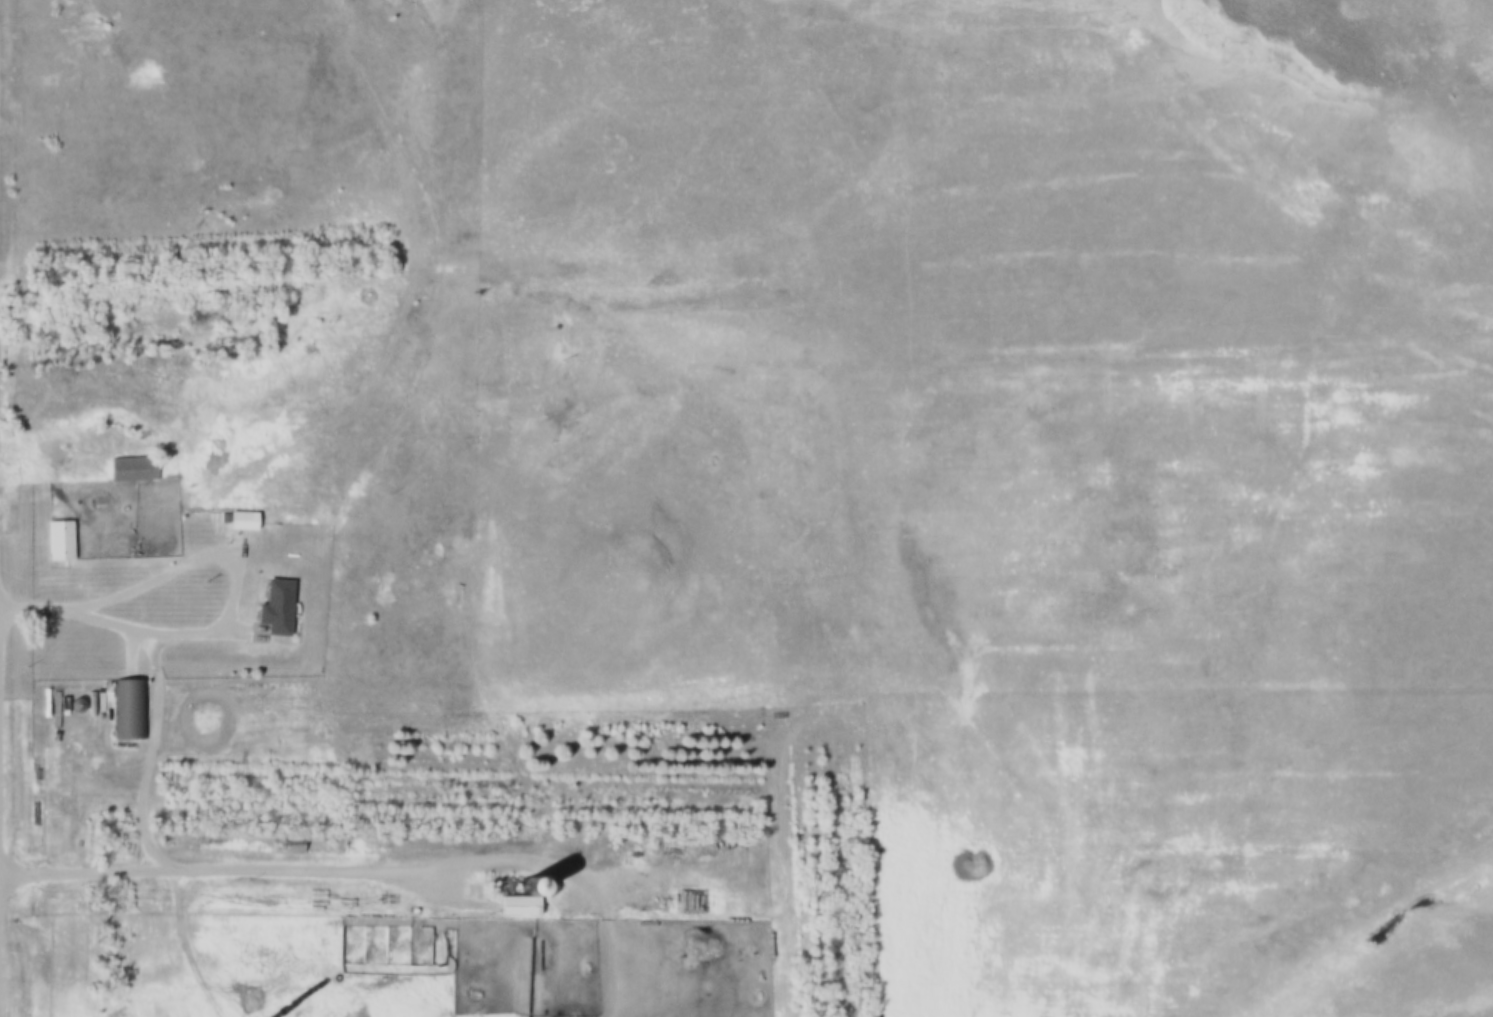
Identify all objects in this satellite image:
building: (128, 468)
building: (238, 520)
building: (55, 539)
road: (231, 591)
building: (272, 606)
road: (40, 610)
building: (126, 707)
road: (360, 875)
building: (511, 904)

